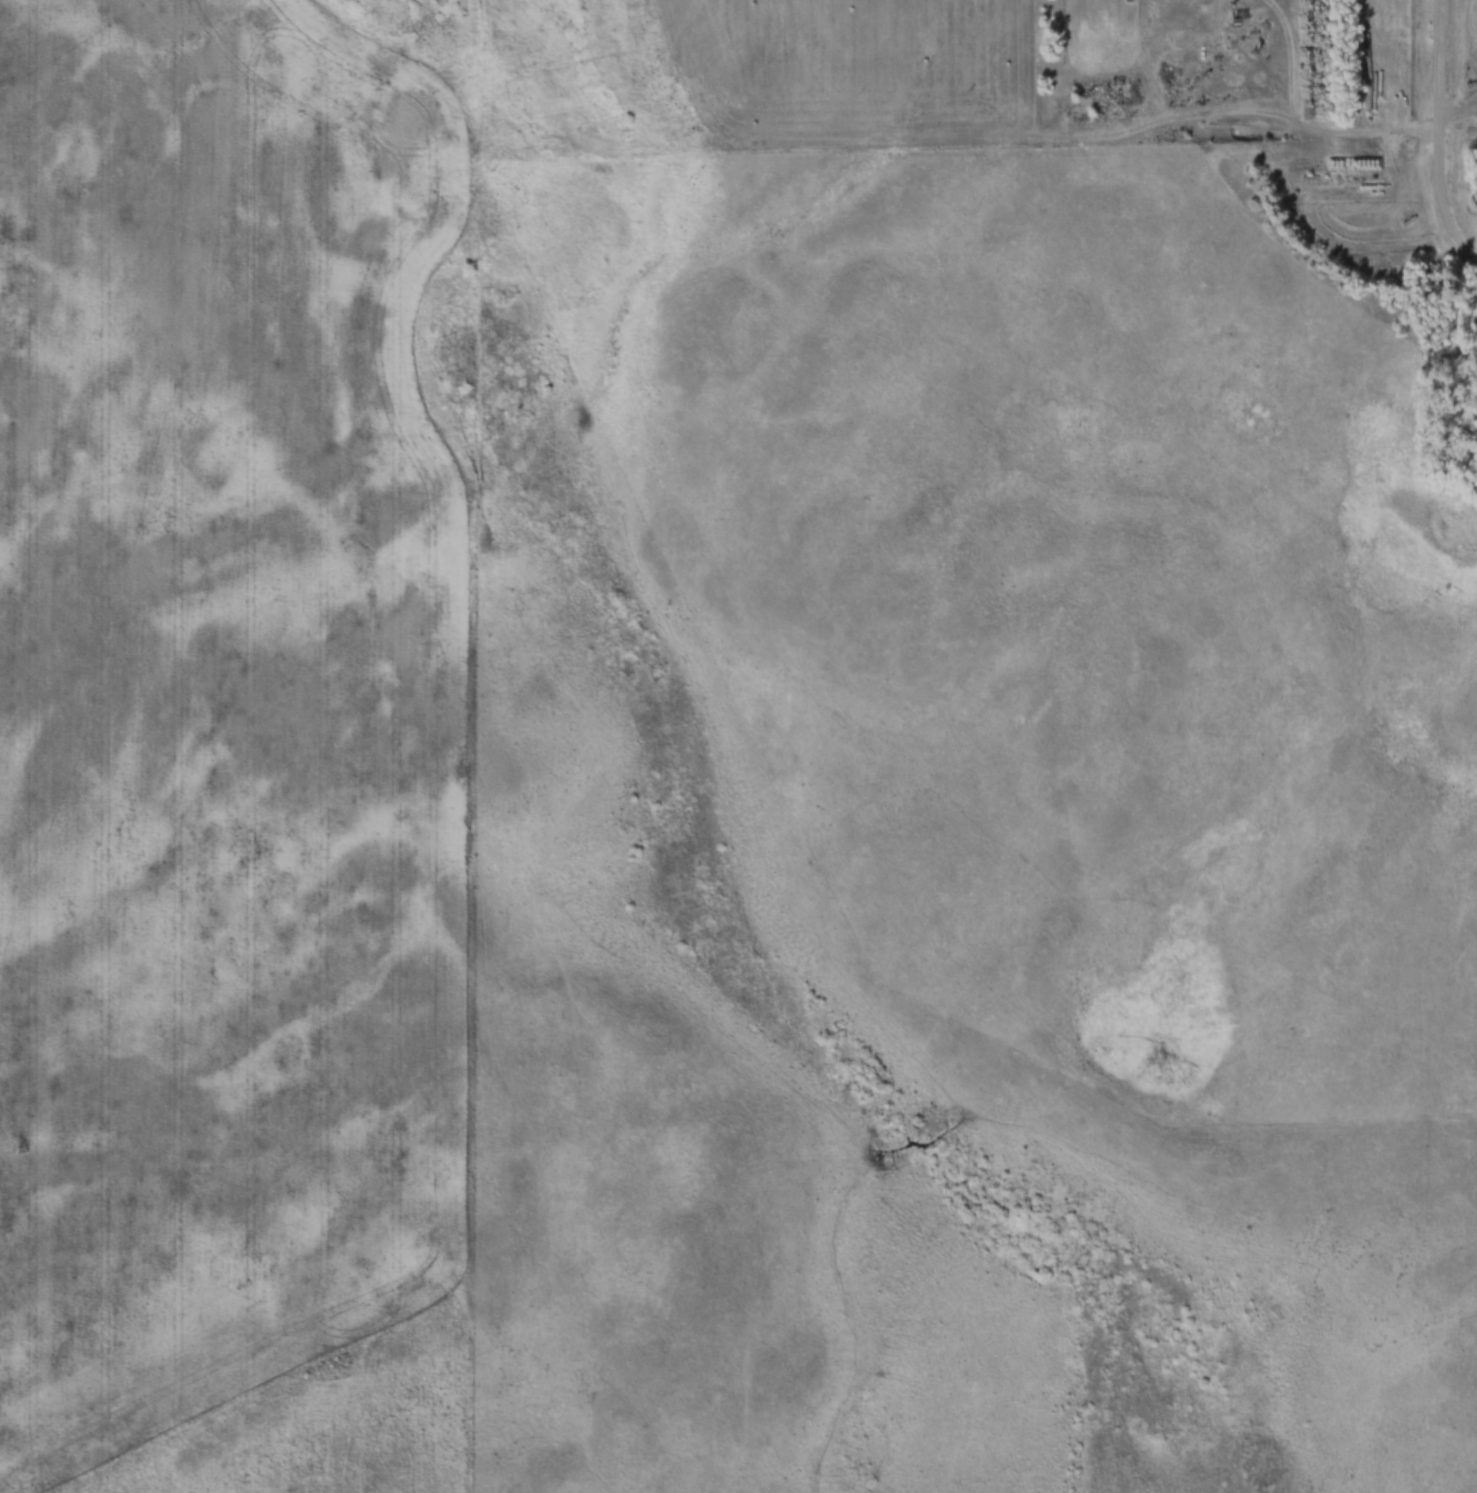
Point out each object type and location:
road: (1440, 121)
road: (1467, 249)

